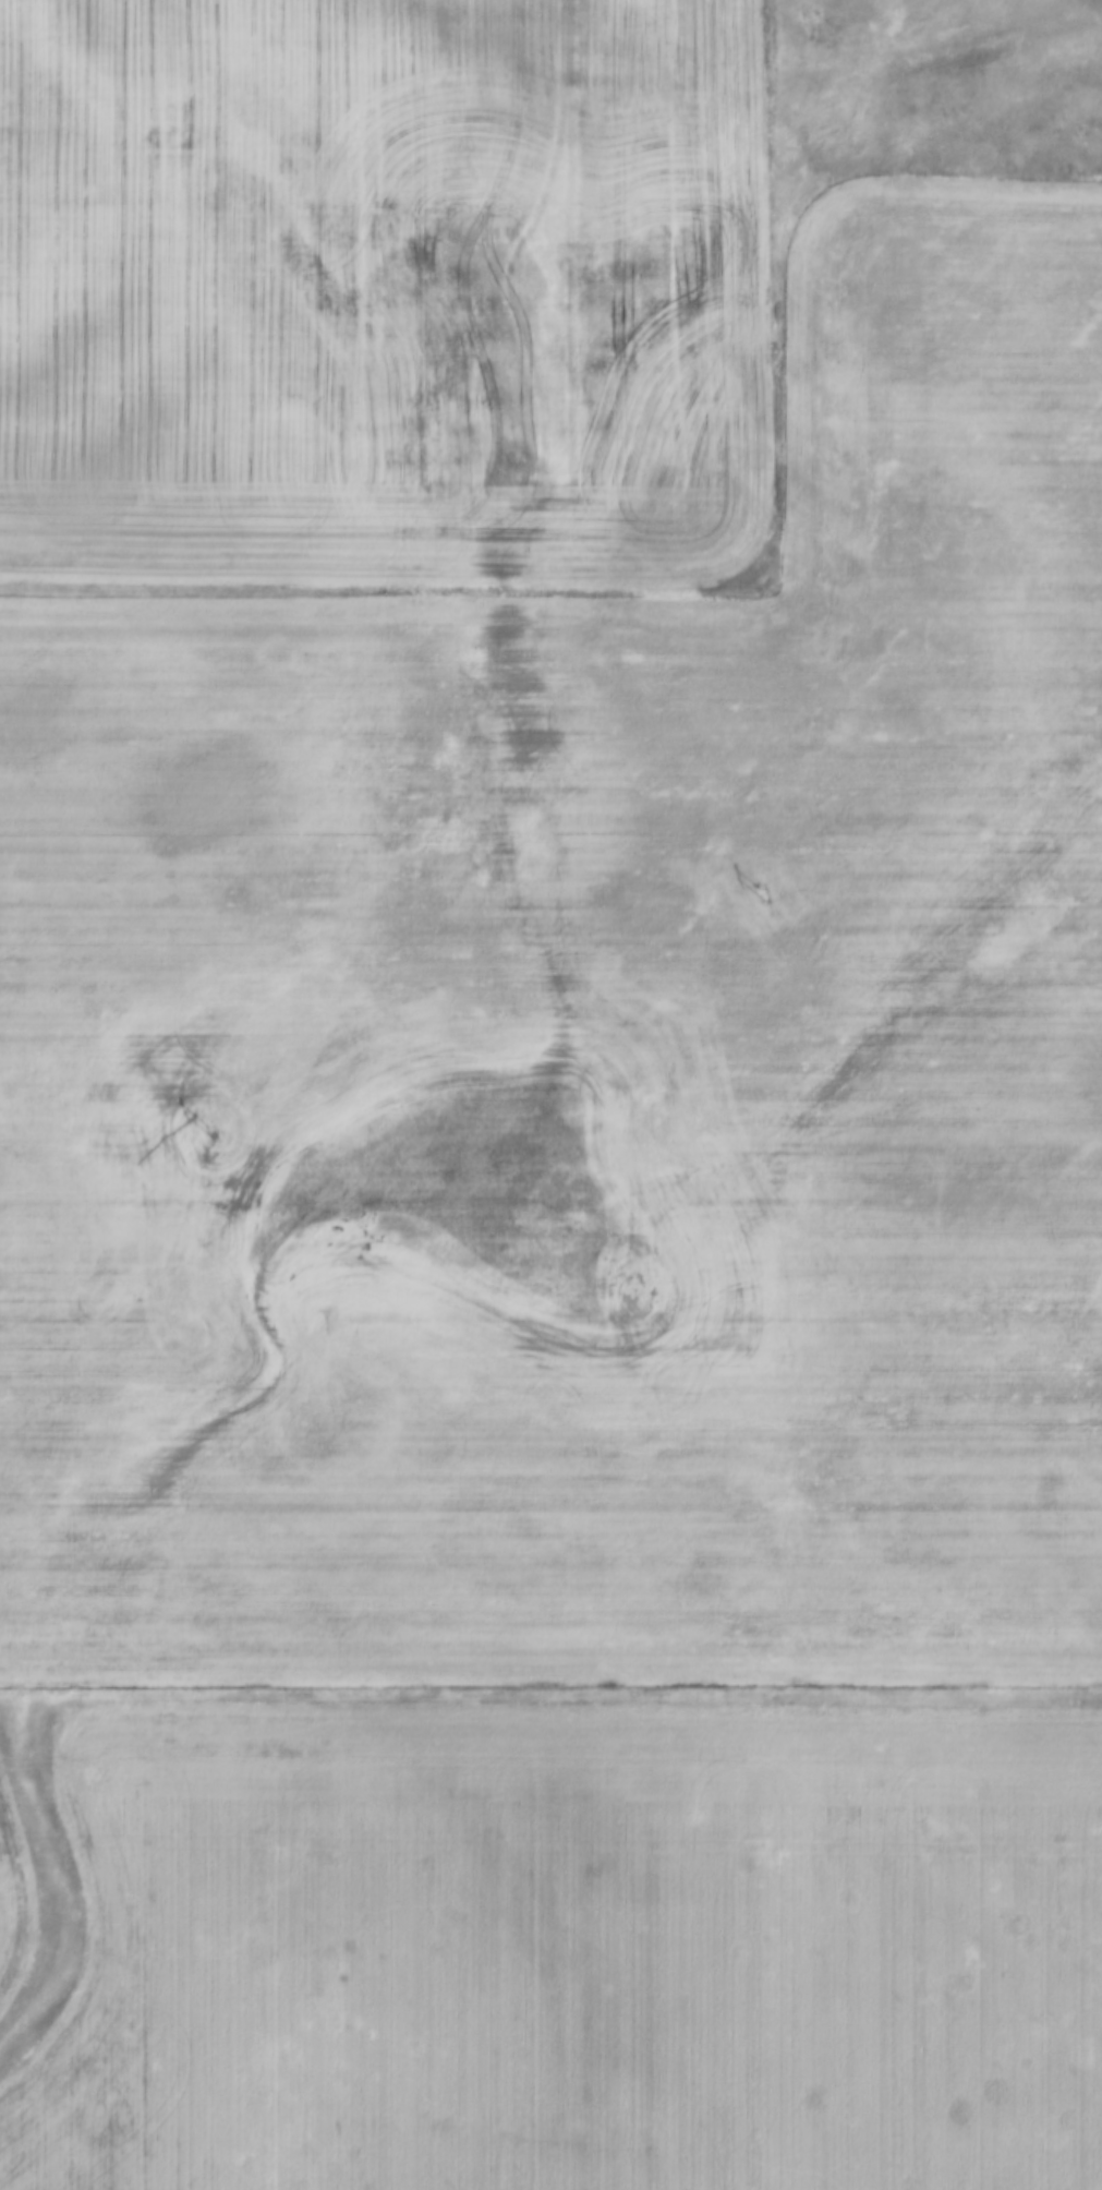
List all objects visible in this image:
power tower: (761, 893)
power tower: (210, 1131)

